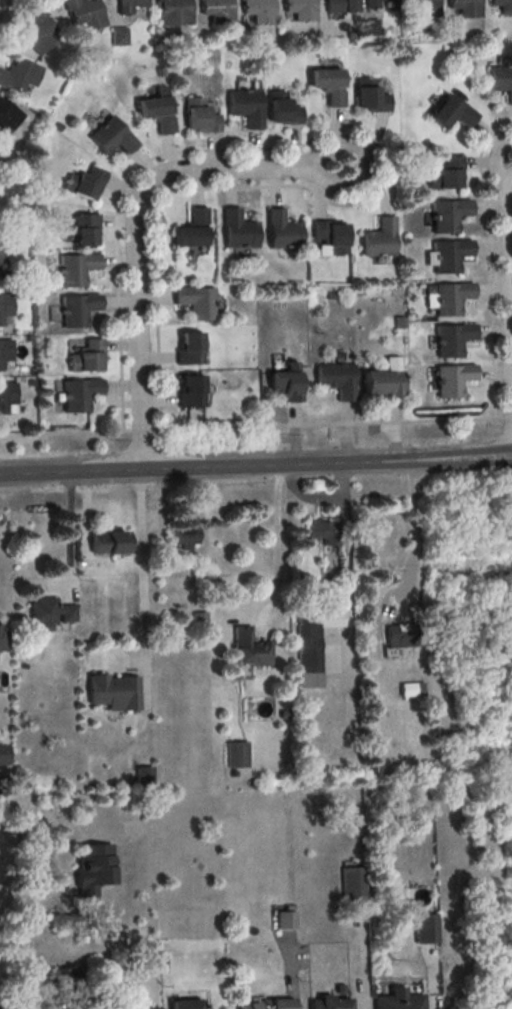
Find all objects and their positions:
building: (374, 4)
building: (129, 6)
building: (339, 6)
building: (502, 6)
road: (5, 7)
building: (424, 7)
building: (465, 8)
building: (299, 9)
building: (216, 11)
building: (257, 11)
building: (173, 13)
building: (83, 15)
building: (369, 26)
building: (35, 29)
building: (119, 35)
building: (18, 75)
building: (501, 81)
building: (328, 85)
building: (369, 97)
building: (245, 107)
building: (281, 110)
building: (156, 112)
building: (449, 113)
building: (200, 116)
building: (7, 117)
building: (110, 137)
road: (496, 164)
building: (444, 174)
building: (85, 183)
road: (123, 188)
road: (196, 190)
building: (447, 215)
road: (136, 226)
building: (83, 230)
building: (191, 230)
building: (237, 231)
building: (281, 231)
building: (329, 238)
building: (378, 240)
building: (448, 256)
building: (1, 257)
road: (490, 263)
building: (75, 269)
road: (508, 286)
building: (449, 298)
building: (196, 303)
building: (4, 307)
building: (76, 310)
building: (450, 340)
building: (188, 350)
building: (4, 353)
building: (86, 358)
building: (383, 379)
building: (335, 380)
building: (450, 380)
building: (284, 383)
building: (189, 392)
building: (78, 395)
building: (6, 396)
road: (503, 419)
road: (323, 426)
road: (140, 432)
road: (65, 434)
road: (256, 467)
road: (85, 512)
road: (412, 531)
building: (322, 532)
building: (183, 535)
road: (68, 540)
building: (107, 543)
road: (275, 554)
road: (183, 555)
road: (345, 576)
road: (143, 587)
building: (48, 613)
building: (399, 637)
building: (1, 639)
building: (312, 643)
building: (248, 649)
building: (113, 692)
building: (2, 755)
building: (236, 755)
building: (92, 869)
building: (352, 886)
building: (285, 921)
road: (25, 928)
building: (424, 930)
road: (363, 955)
road: (291, 969)
road: (433, 976)
building: (62, 979)
building: (397, 1000)
building: (327, 1003)
building: (103, 1004)
building: (183, 1005)
building: (267, 1005)
building: (0, 1007)
building: (1, 1008)
building: (152, 1008)

